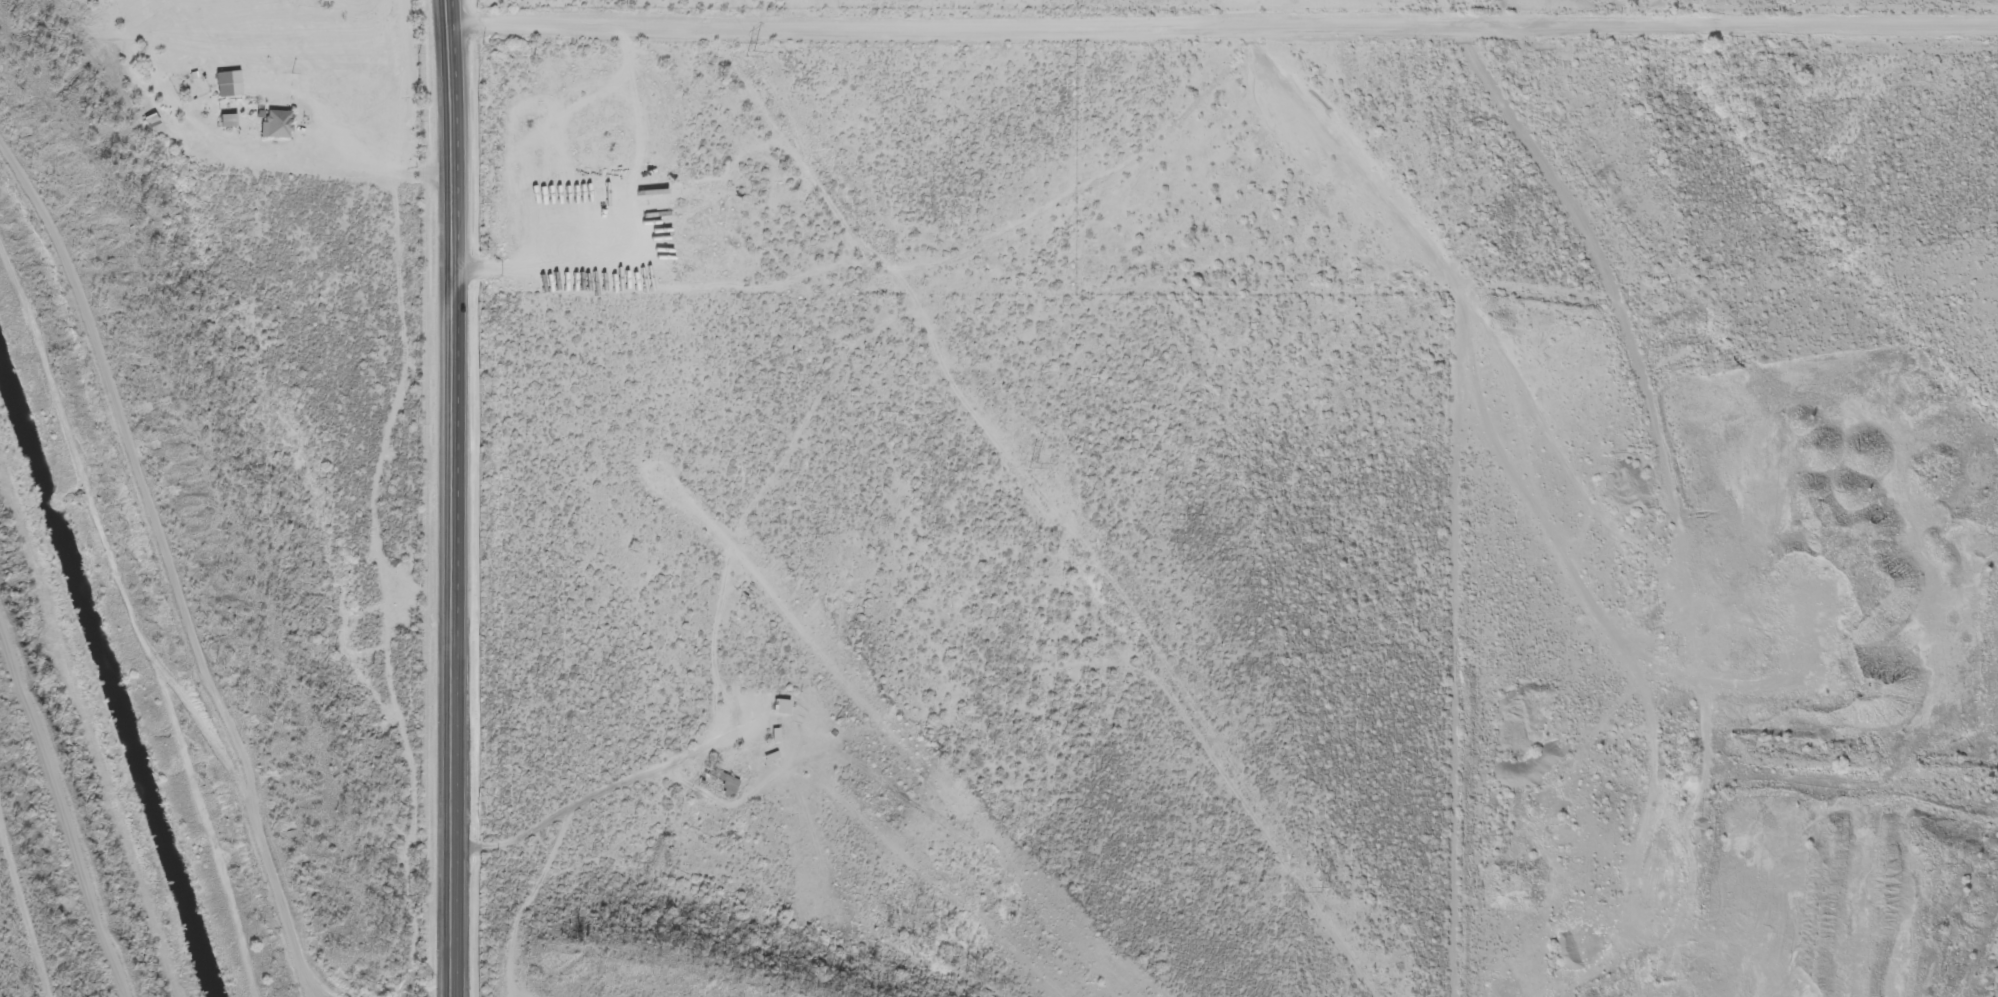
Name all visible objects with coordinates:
road: (1222, 28)
power tower: (753, 54)
building: (146, 123)
road: (794, 142)
road: (1121, 180)
power tower: (1038, 466)
road: (1674, 473)
road: (456, 498)
road: (1139, 642)
road: (721, 673)
building: (713, 785)
power tower: (1333, 890)

